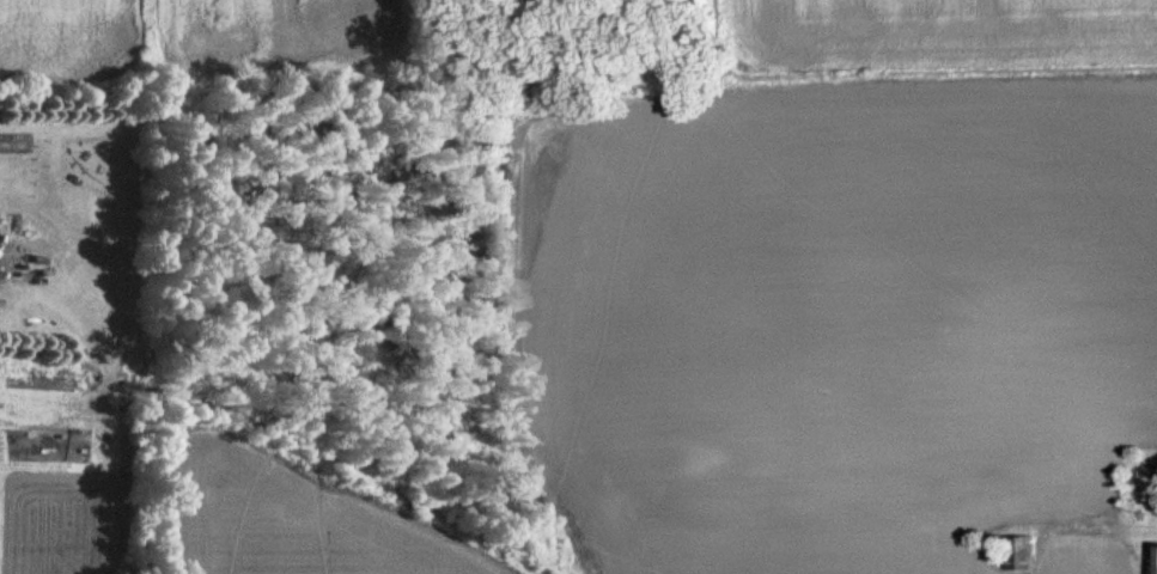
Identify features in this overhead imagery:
building: (1024, 554)

